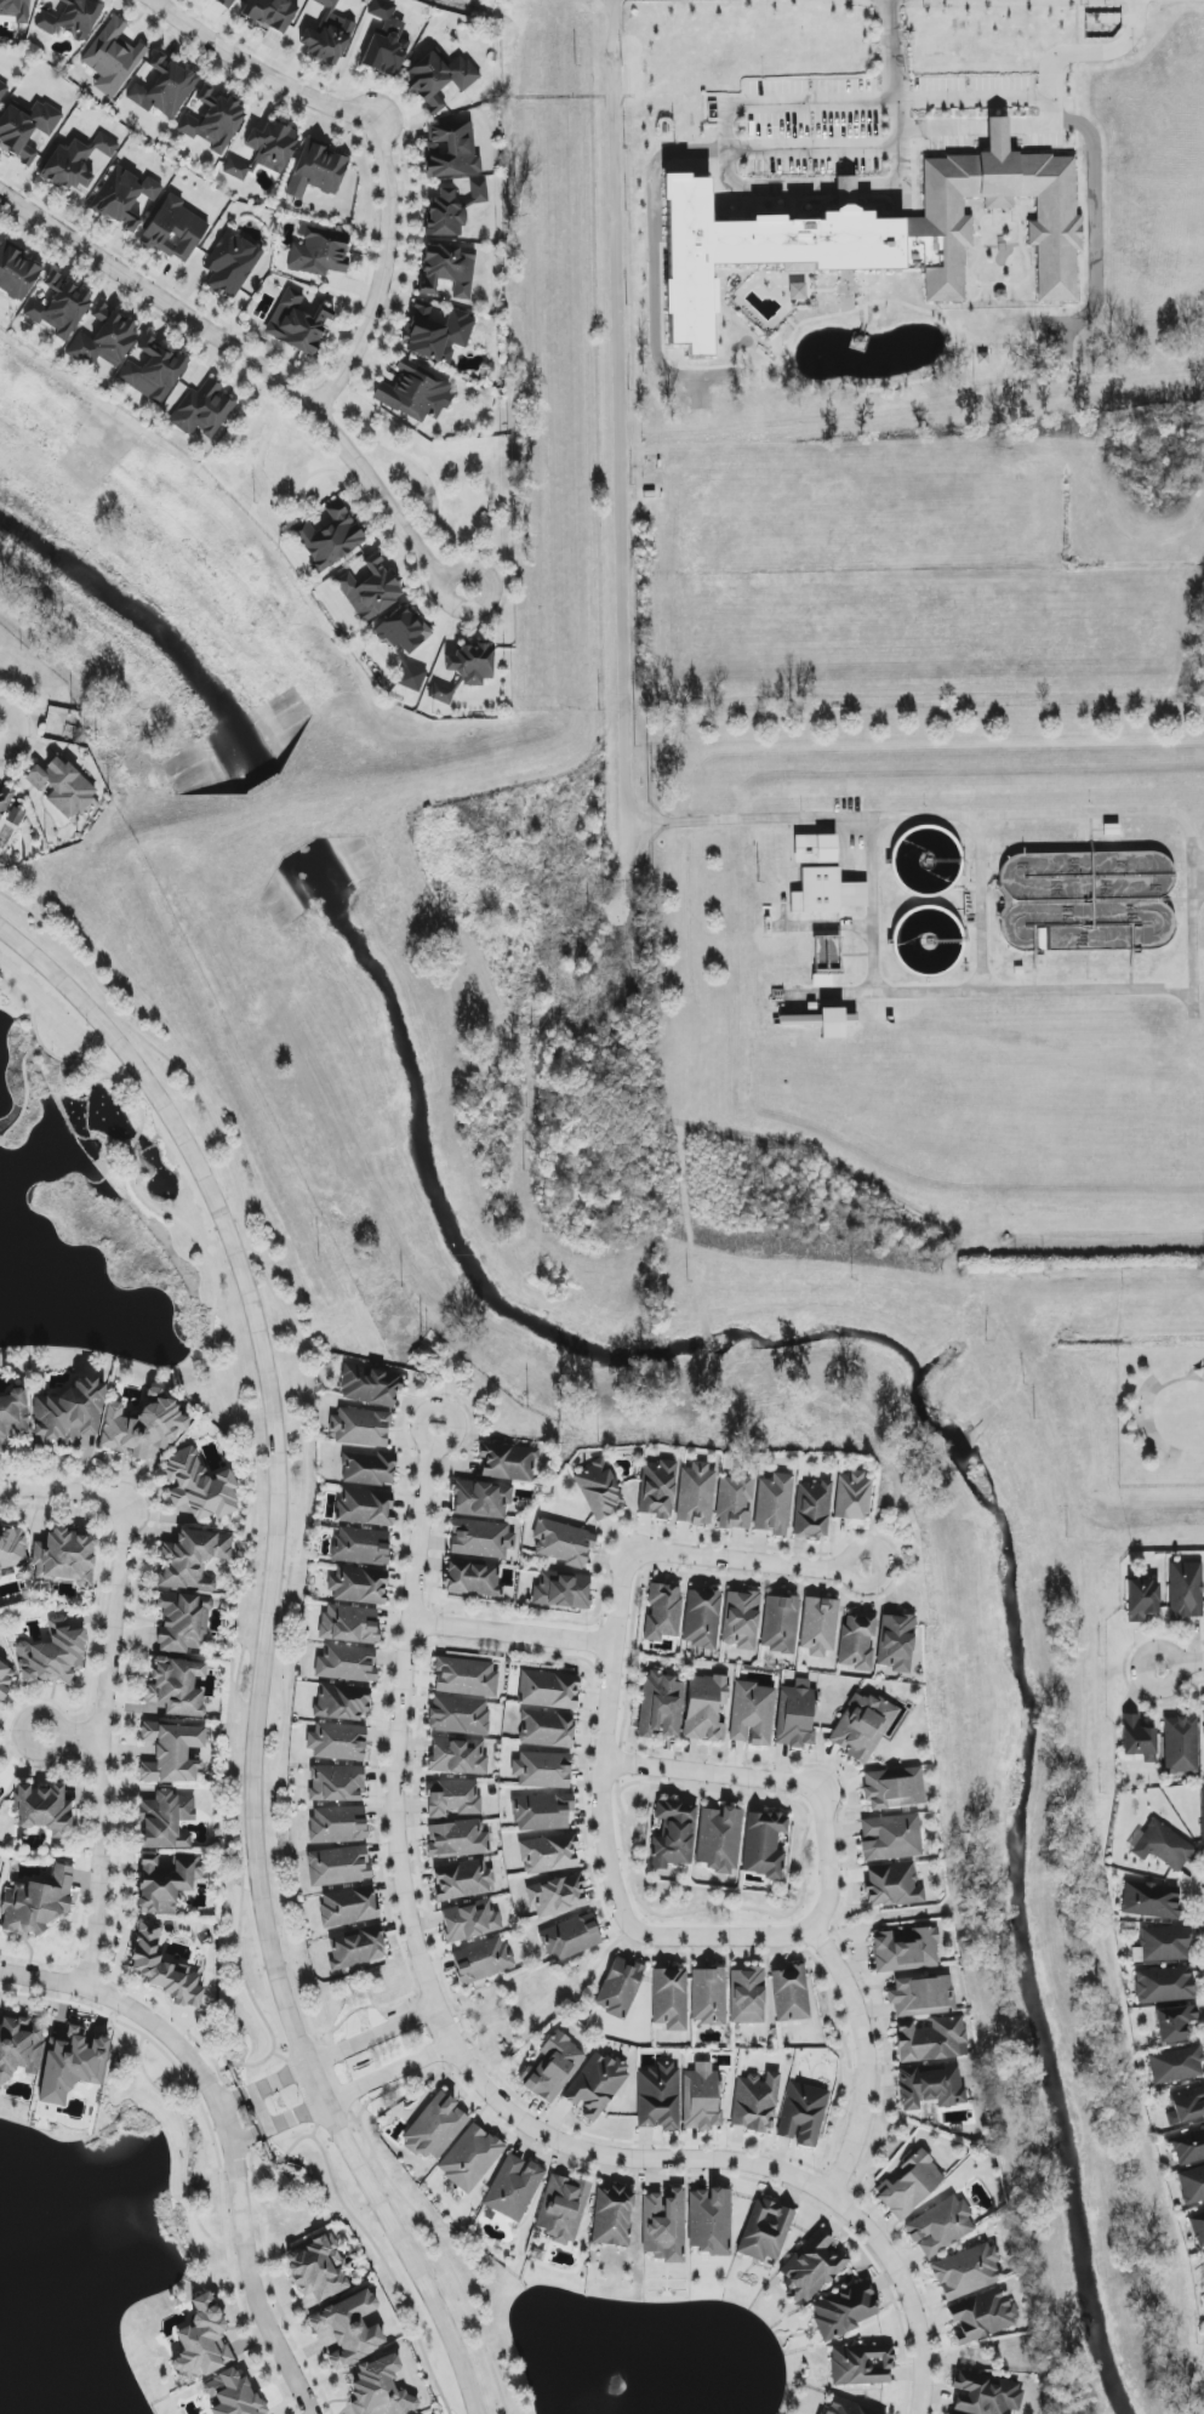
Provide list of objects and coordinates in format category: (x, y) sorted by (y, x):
building: (227, 2)
building: (16, 10)
building: (270, 15)
building: (72, 18)
building: (329, 34)
building: (386, 41)
road: (1100, 56)
building: (113, 57)
building: (440, 79)
building: (164, 89)
building: (2, 90)
road: (1015, 102)
building: (213, 120)
road: (898, 120)
building: (25, 127)
road: (997, 133)
road: (727, 135)
building: (272, 144)
building: (451, 150)
road: (381, 152)
building: (236, 170)
building: (318, 171)
building: (122, 197)
building: (452, 207)
building: (871, 229)
building: (175, 230)
road: (1096, 233)
building: (316, 252)
road: (655, 260)
building: (232, 263)
building: (447, 272)
building: (17, 273)
building: (59, 307)
building: (298, 323)
building: (436, 332)
building: (103, 338)
building: (153, 372)
road: (251, 374)
building: (413, 395)
building: (202, 411)
road: (622, 457)
building: (331, 537)
building: (403, 630)
building: (466, 670)
building: (412, 678)
building: (62, 787)
building: (4, 799)
road: (918, 815)
building: (15, 816)
building: (815, 849)
building: (826, 893)
road: (981, 904)
wastewater plant: (923, 952)
road: (1022, 991)
road: (28, 1007)
road: (22, 1092)
building: (370, 1385)
road: (1149, 1401)
building: (68, 1414)
building: (12, 1416)
building: (142, 1427)
building: (360, 1427)
road: (297, 1429)
road: (447, 1441)
building: (508, 1462)
building: (369, 1468)
road: (64, 1488)
building: (657, 1488)
building: (599, 1491)
building: (696, 1494)
building: (852, 1496)
building: (483, 1499)
building: (734, 1502)
building: (774, 1504)
building: (365, 1507)
road: (257, 1510)
building: (814, 1510)
building: (481, 1539)
building: (563, 1543)
building: (361, 1545)
building: (12, 1552)
building: (65, 1556)
building: (192, 1560)
road: (737, 1560)
road: (851, 1578)
building: (475, 1579)
building: (359, 1585)
building: (563, 1590)
building: (1185, 1590)
building: (1142, 1600)
building: (663, 1612)
building: (702, 1618)
building: (741, 1619)
building: (349, 1624)
building: (780, 1624)
building: (818, 1626)
road: (513, 1633)
building: (856, 1642)
building: (896, 1642)
road: (266, 1650)
building: (53, 1655)
building: (347, 1663)
road: (1181, 1664)
building: (466, 1678)
building: (5, 1679)
building: (177, 1686)
building: (548, 1690)
building: (342, 1702)
building: (661, 1704)
building: (707, 1708)
building: (752, 1714)
building: (460, 1715)
building: (795, 1715)
building: (861, 1726)
building: (547, 1729)
road: (69, 1737)
building: (1139, 1740)
building: (338, 1742)
road: (605, 1742)
road: (98, 1744)
building: (1181, 1744)
building: (171, 1753)
building: (458, 1757)
building: (543, 1770)
road: (708, 1774)
road: (617, 1778)
building: (336, 1783)
building: (894, 1788)
building: (1, 1797)
building: (452, 1798)
building: (1203, 1798)
building: (42, 1809)
building: (542, 1812)
building: (167, 1821)
building: (337, 1824)
building: (673, 1835)
building: (891, 1838)
building: (457, 1839)
building: (719, 1839)
building: (764, 1845)
building: (1162, 1846)
building: (549, 1854)
road: (827, 1860)
building: (338, 1866)
building: (463, 1880)
building: (166, 1881)
building: (892, 1885)
building: (558, 1896)
road: (801, 1897)
building: (1151, 1900)
building: (38, 1903)
building: (348, 1907)
building: (470, 1920)
building: (571, 1937)
road: (720, 1937)
building: (1165, 1943)
building: (356, 1948)
building: (906, 1949)
building: (483, 1960)
building: (165, 1969)
building: (1164, 1985)
building: (621, 1987)
road: (549, 1994)
building: (791, 1994)
building: (708, 1995)
building: (747, 1997)
building: (921, 1997)
building: (671, 1999)
building: (1175, 2023)
road: (371, 2036)
building: (931, 2039)
building: (17, 2046)
road: (865, 2056)
building: (72, 2065)
building: (1176, 2066)
building: (553, 2068)
road: (472, 2071)
road: (389, 2073)
road: (331, 2076)
road: (262, 2084)
building: (930, 2085)
building: (595, 2086)
road: (301, 2089)
building: (658, 2096)
building: (701, 2097)
building: (755, 2102)
building: (1186, 2107)
building: (803, 2114)
road: (279, 2123)
building: (435, 2128)
road: (228, 2131)
building: (1188, 2147)
building: (470, 2158)
building: (911, 2185)
building: (1192, 2185)
building: (513, 2187)
building: (563, 2209)
building: (612, 2216)
building: (709, 2220)
building: (664, 2226)
building: (940, 2226)
building: (1198, 2227)
building: (765, 2231)
road: (438, 2247)
road: (381, 2258)
building: (812, 2266)
building: (318, 2270)
building: (965, 2272)
building: (845, 2311)
building: (981, 2316)
building: (349, 2329)
building: (201, 2341)
building: (861, 2365)
fountain: (620, 2385)
building: (380, 2389)
building: (986, 2393)
building: (232, 2395)
building: (846, 2408)

